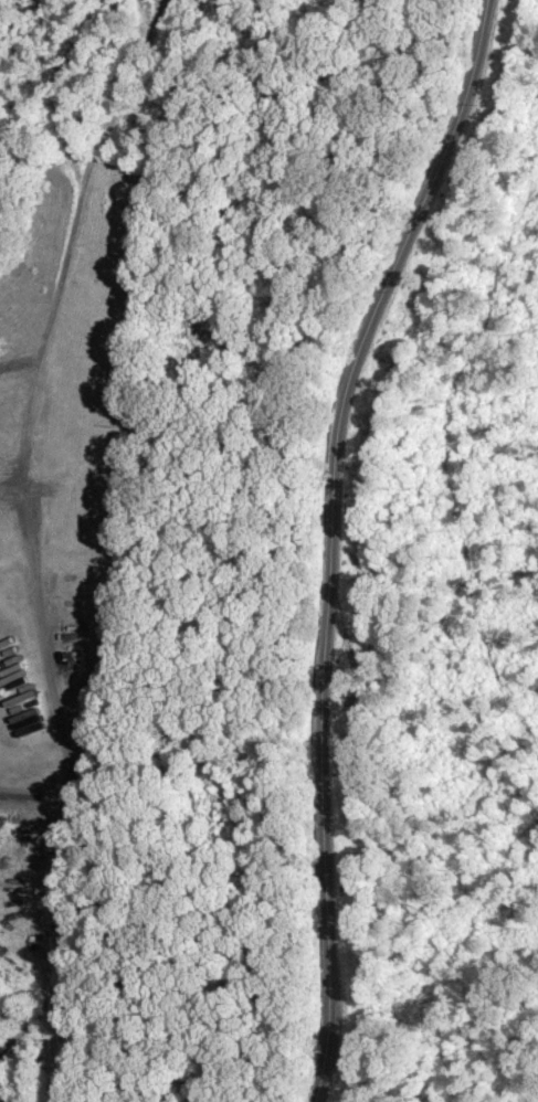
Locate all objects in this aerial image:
road: (344, 542)
road: (124, 919)

